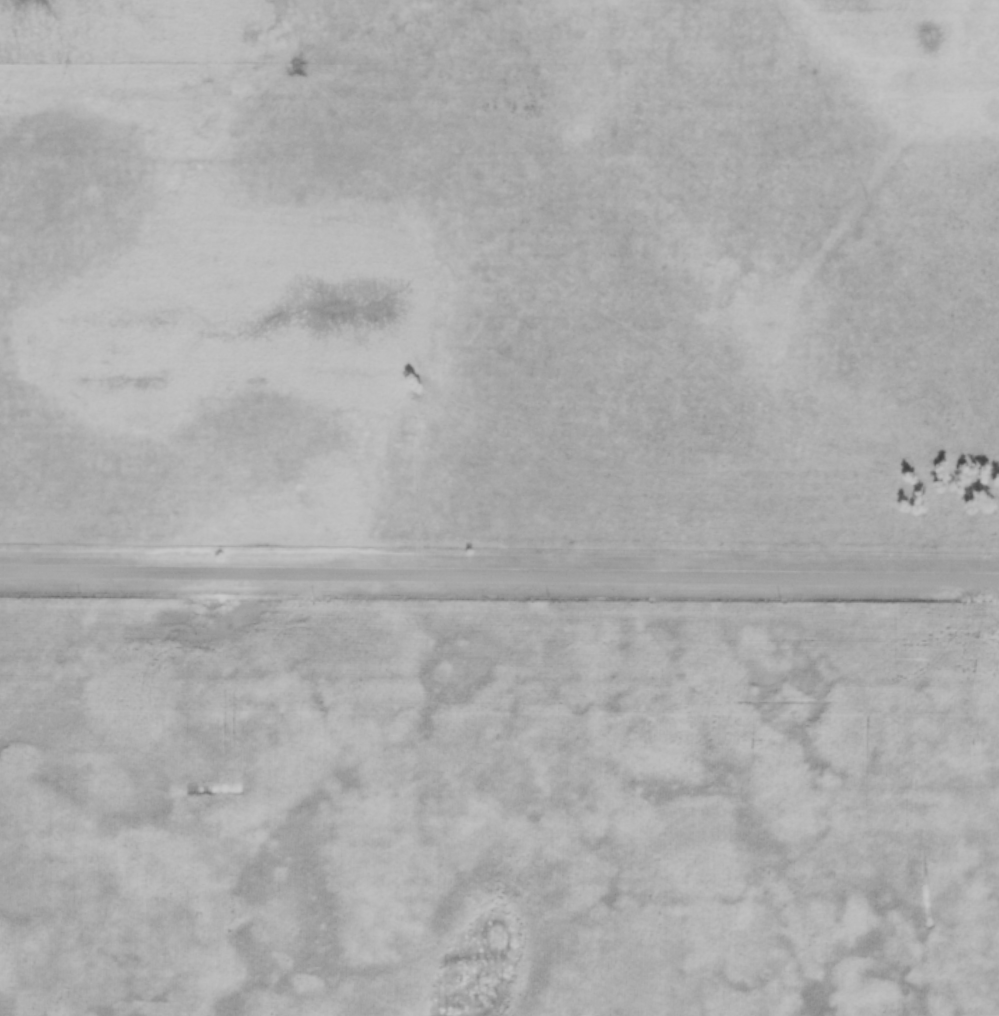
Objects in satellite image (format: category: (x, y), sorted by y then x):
road: (499, 576)

